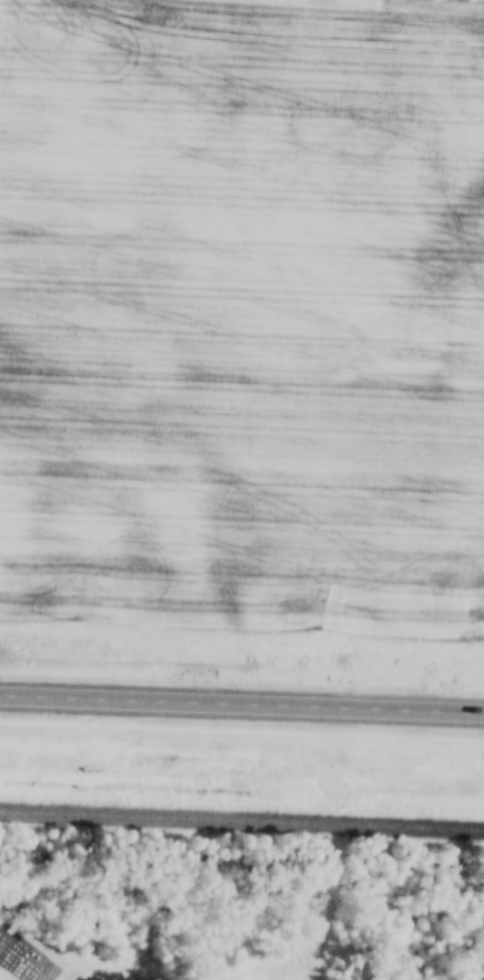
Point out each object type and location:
road: (242, 707)
railway: (242, 820)

